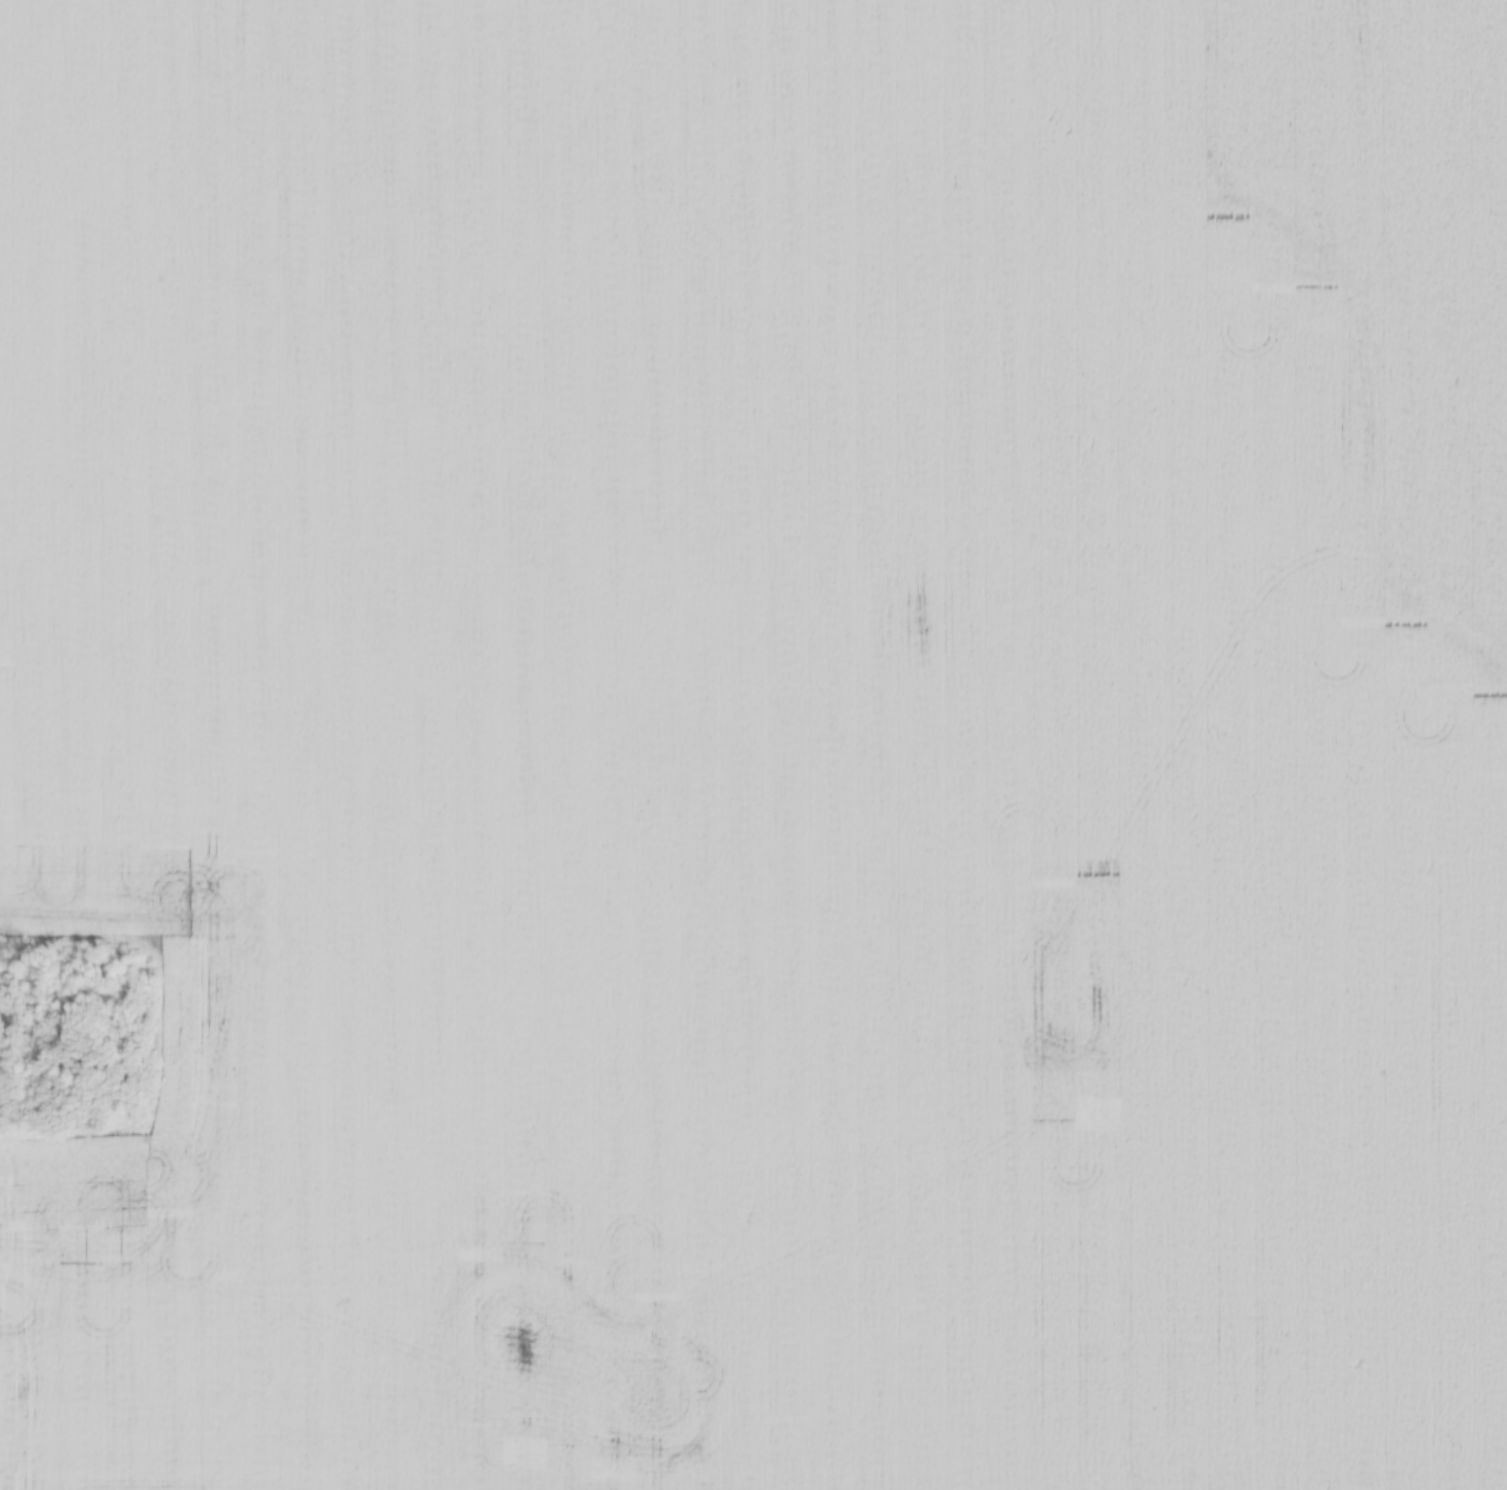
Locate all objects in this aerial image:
building: (5, 1364)

